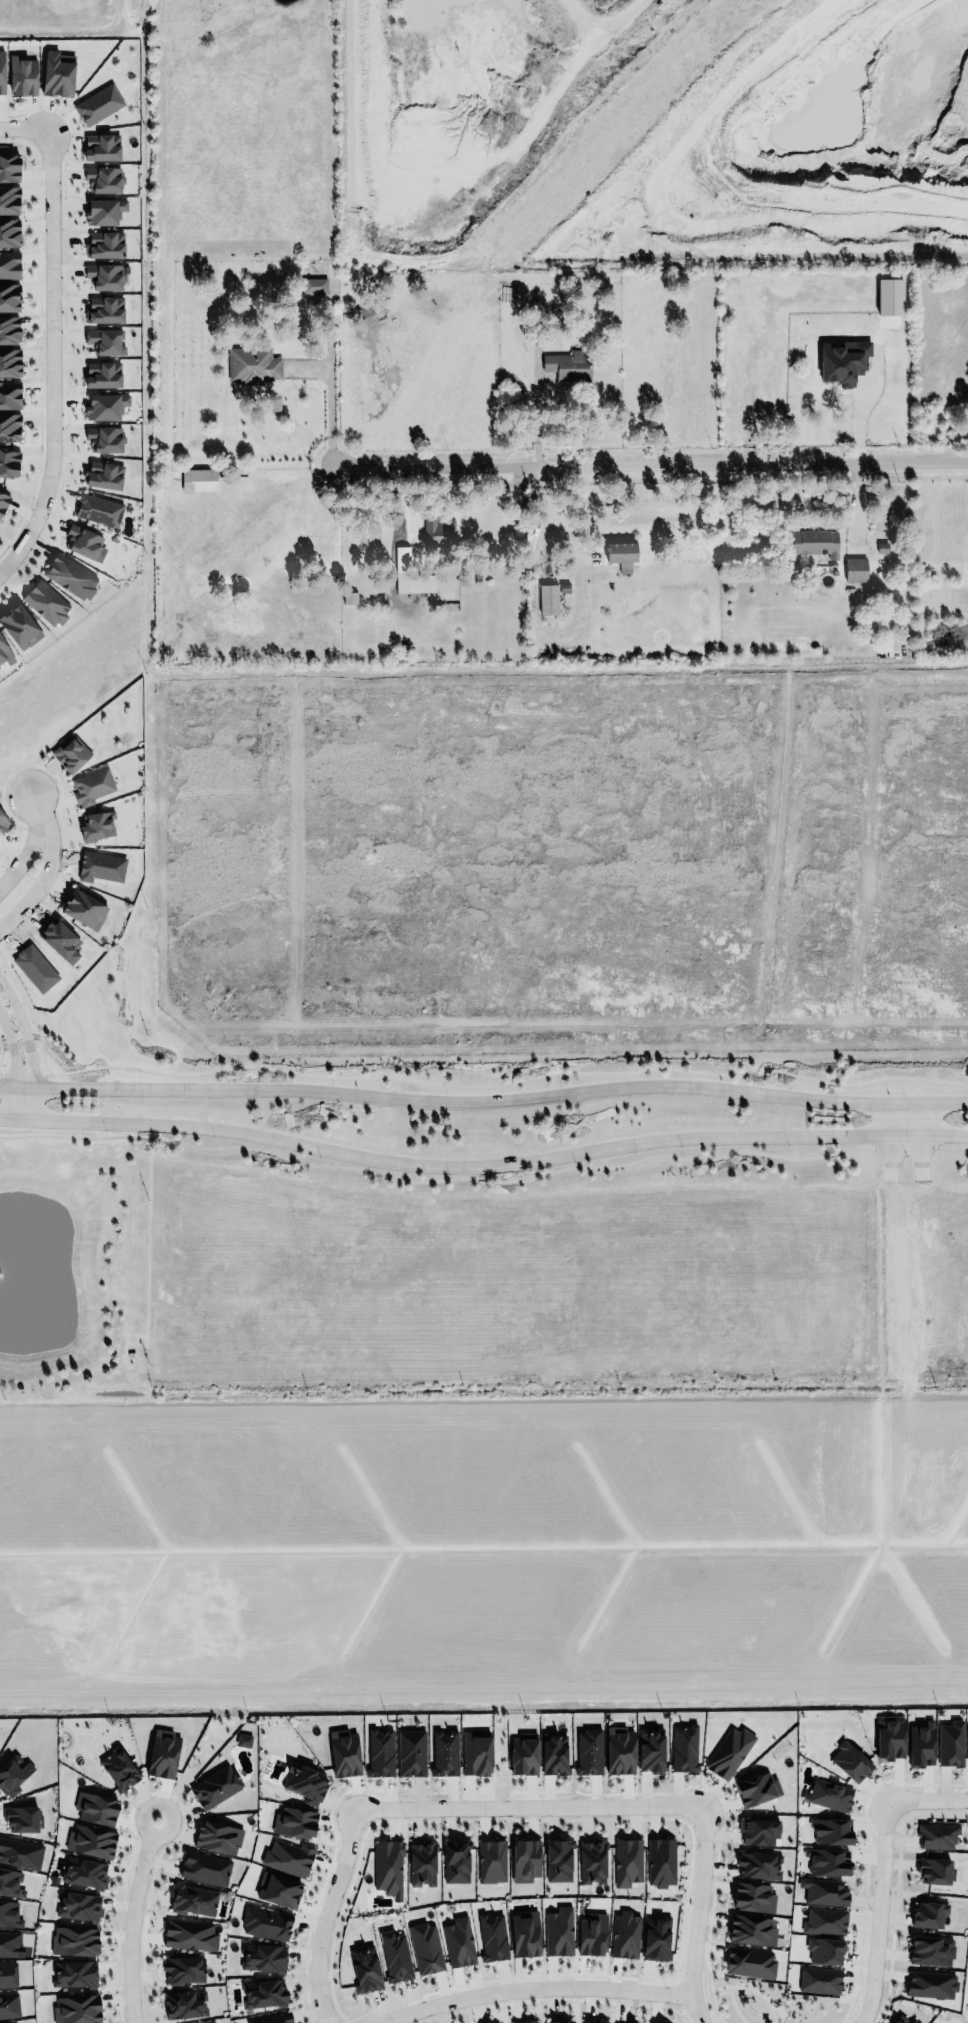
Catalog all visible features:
building: (0, 76)
building: (56, 76)
building: (21, 78)
building: (94, 107)
road: (22, 126)
quarry: (650, 130)
building: (98, 148)
building: (8, 168)
building: (100, 182)
building: (9, 201)
building: (101, 214)
building: (8, 234)
building: (101, 247)
building: (8, 268)
building: (101, 278)
building: (314, 286)
building: (889, 296)
building: (9, 299)
building: (99, 311)
road: (67, 323)
building: (8, 333)
road: (39, 336)
building: (100, 343)
road: (53, 355)
building: (842, 362)
building: (9, 364)
building: (568, 364)
building: (253, 365)
building: (99, 377)
road: (329, 396)
building: (9, 397)
road: (868, 398)
building: (102, 408)
building: (9, 430)
building: (101, 441)
road: (647, 456)
building: (8, 465)
building: (99, 479)
building: (198, 479)
building: (2, 503)
building: (95, 513)
building: (438, 531)
building: (814, 542)
building: (80, 543)
building: (621, 555)
building: (855, 569)
building: (409, 574)
building: (67, 578)
building: (349, 597)
building: (548, 599)
building: (41, 605)
road: (532, 623)
building: (19, 626)
building: (4, 656)
building: (68, 757)
building: (90, 788)
road: (35, 803)
building: (2, 826)
building: (94, 829)
road: (24, 853)
road: (36, 871)
building: (82, 910)
road: (30, 1011)
road: (29, 1037)
road: (0, 1051)
road: (13, 1057)
road: (25, 1076)
road: (509, 1083)
road: (484, 1098)
road: (918, 1139)
road: (901, 1146)
road: (950, 1149)
road: (889, 1156)
road: (483, 1163)
road: (435, 1180)
building: (890, 1737)
building: (243, 1740)
building: (950, 1744)
building: (967, 1744)
building: (682, 1745)
building: (920, 1745)
building: (650, 1747)
building: (618, 1749)
building: (588, 1751)
building: (162, 1752)
building: (343, 1752)
building: (380, 1752)
building: (411, 1752)
building: (444, 1752)
building: (476, 1752)
building: (729, 1752)
building: (523, 1753)
building: (554, 1753)
building: (849, 1759)
building: (117, 1764)
building: (12, 1775)
building: (306, 1782)
building: (213, 1785)
building: (755, 1786)
building: (830, 1795)
road: (926, 1798)
road: (529, 1807)
building: (95, 1808)
building: (21, 1818)
building: (295, 1821)
building: (830, 1828)
building: (758, 1831)
building: (935, 1834)
building: (218, 1835)
building: (90, 1839)
building: (19, 1851)
building: (287, 1856)
building: (557, 1857)
building: (825, 1858)
building: (525, 1860)
building: (456, 1861)
building: (492, 1861)
building: (592, 1861)
building: (627, 1861)
building: (661, 1862)
building: (422, 1864)
building: (757, 1865)
building: (386, 1866)
building: (205, 1868)
building: (934, 1870)
building: (84, 1872)
building: (10, 1881)
building: (279, 1887)
building: (822, 1890)
building: (753, 1895)
building: (191, 1897)
building: (79, 1905)
building: (9, 1911)
road: (878, 1912)
building: (929, 1914)
road: (325, 1915)
road: (697, 1915)
road: (131, 1919)
building: (824, 1920)
building: (266, 1923)
building: (750, 1927)
building: (524, 1931)
building: (559, 1931)
building: (189, 1932)
building: (590, 1932)
building: (490, 1935)
building: (625, 1935)
building: (658, 1938)
building: (458, 1940)
building: (74, 1941)
building: (8, 1942)
building: (426, 1948)
building: (823, 1948)
building: (929, 1949)
building: (393, 1954)
building: (263, 1957)
building: (749, 1962)
building: (181, 1966)
building: (365, 1968)
building: (74, 1973)
building: (8, 1974)
building: (819, 1980)
building: (931, 1984)
road: (532, 1988)
building: (263, 1993)
building: (184, 2004)
building: (9, 2005)
building: (75, 2008)
building: (272, 2018)
building: (593, 2020)
building: (559, 2021)
building: (897, 2021)
building: (914, 2021)
building: (15, 2022)
building: (527, 2022)

